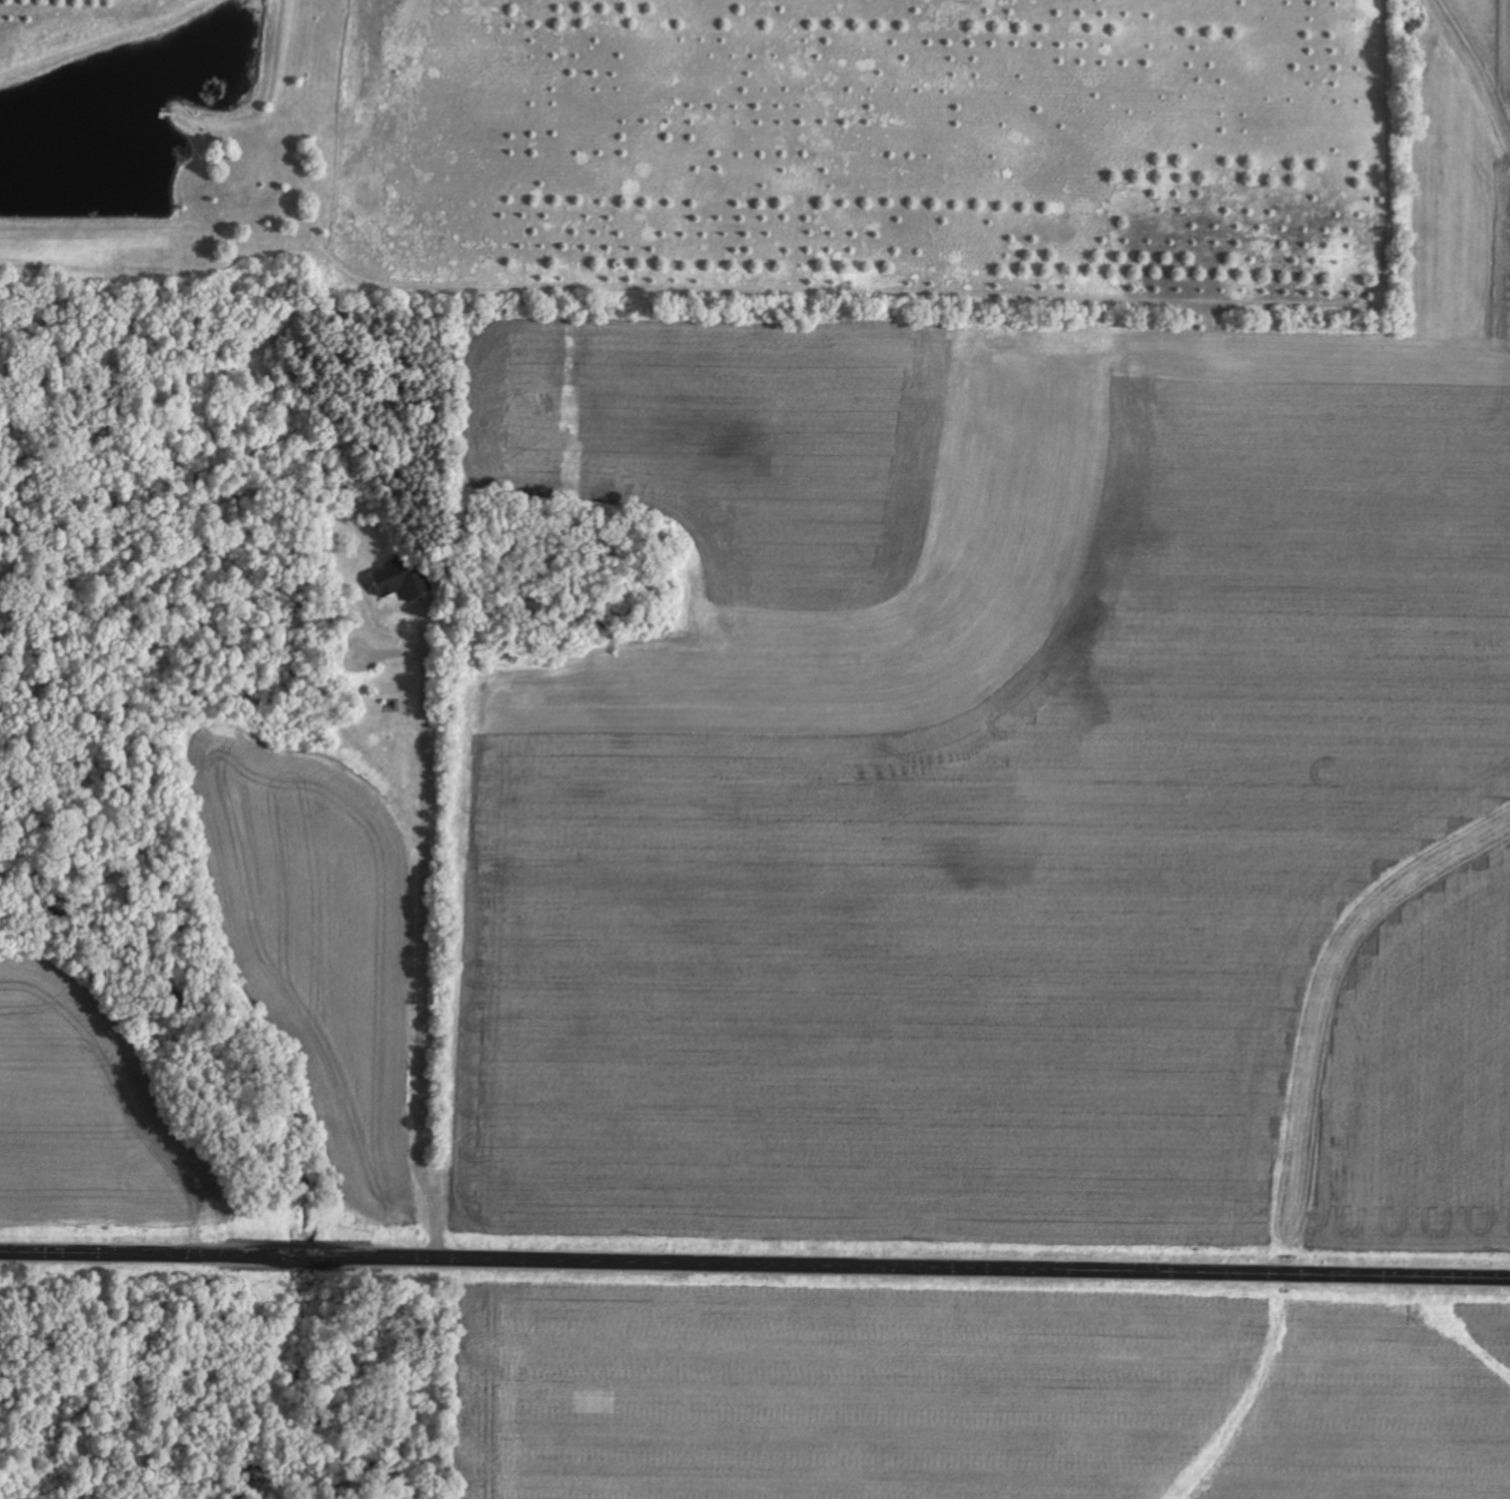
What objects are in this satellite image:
building: (401, 582)
road: (755, 1270)

